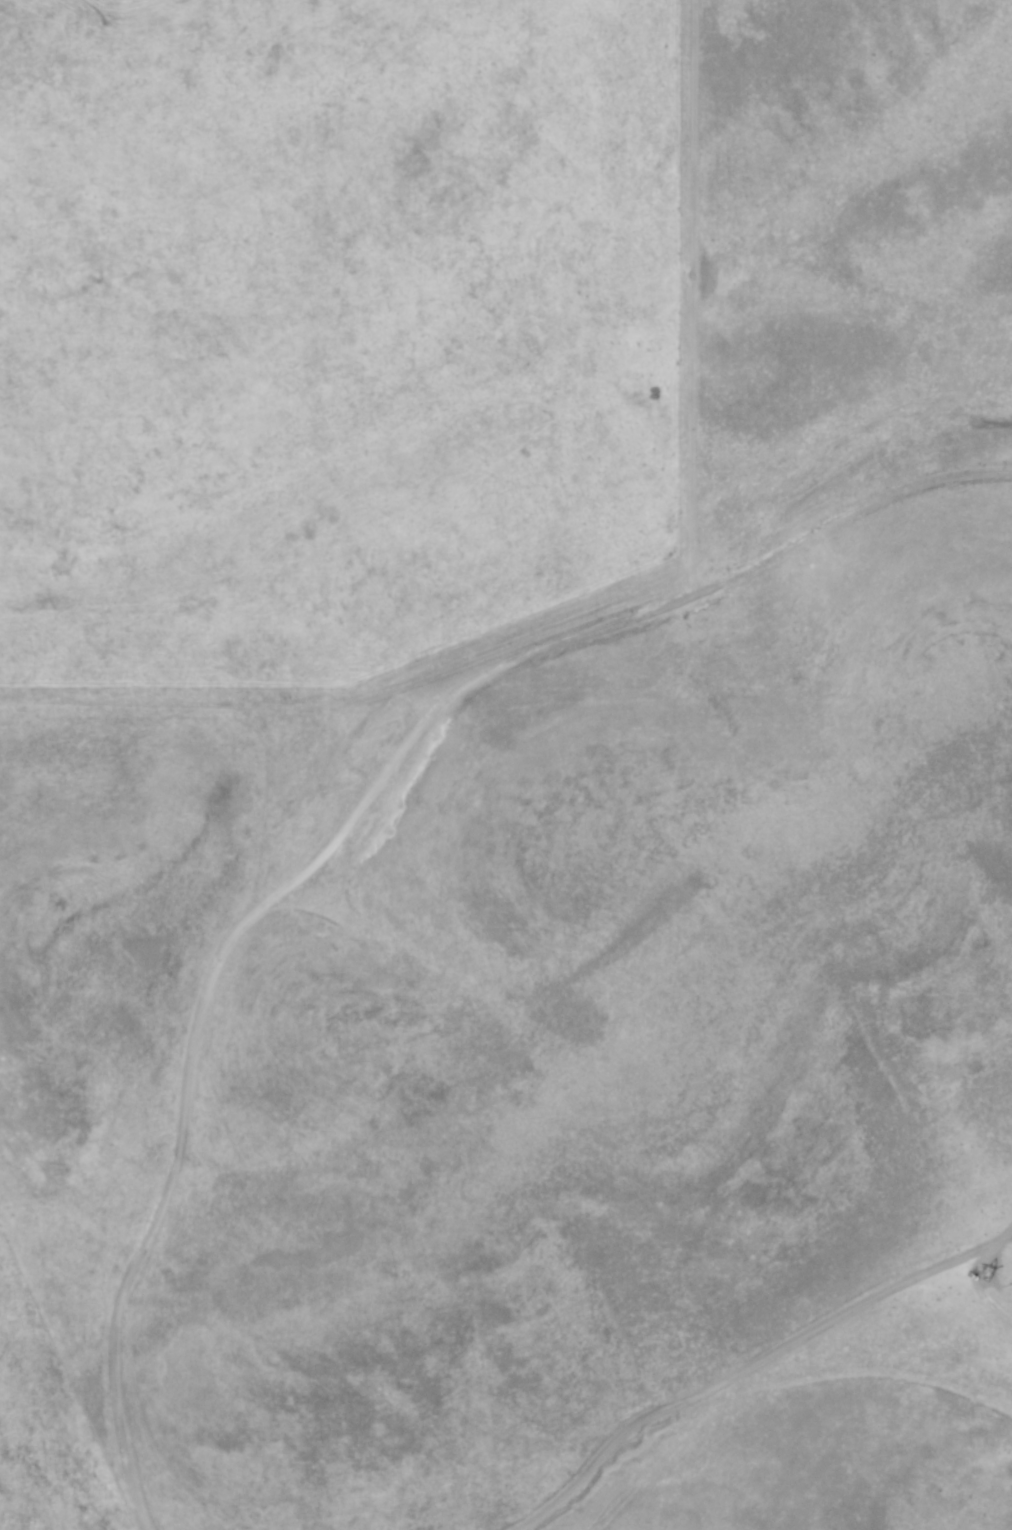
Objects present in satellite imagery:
road: (326, 832)
road: (765, 1389)

